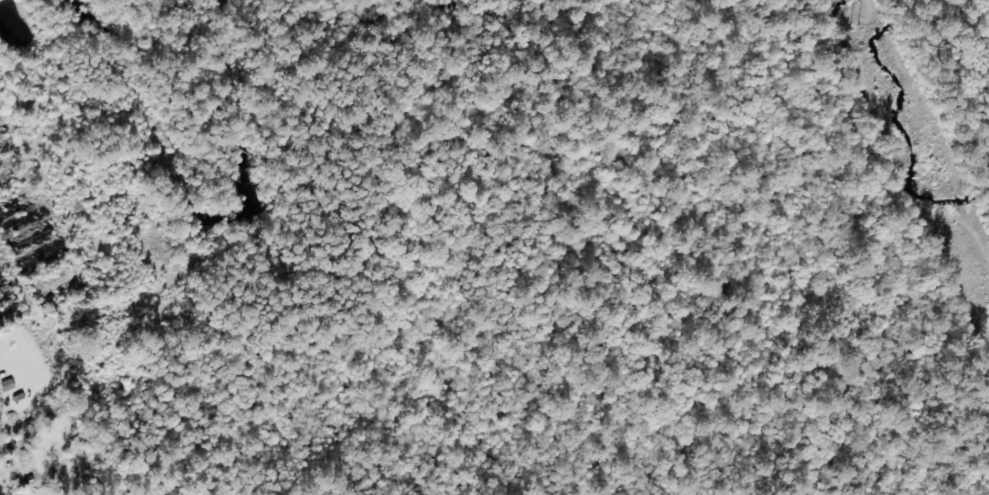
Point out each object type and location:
power tower: (870, 24)

